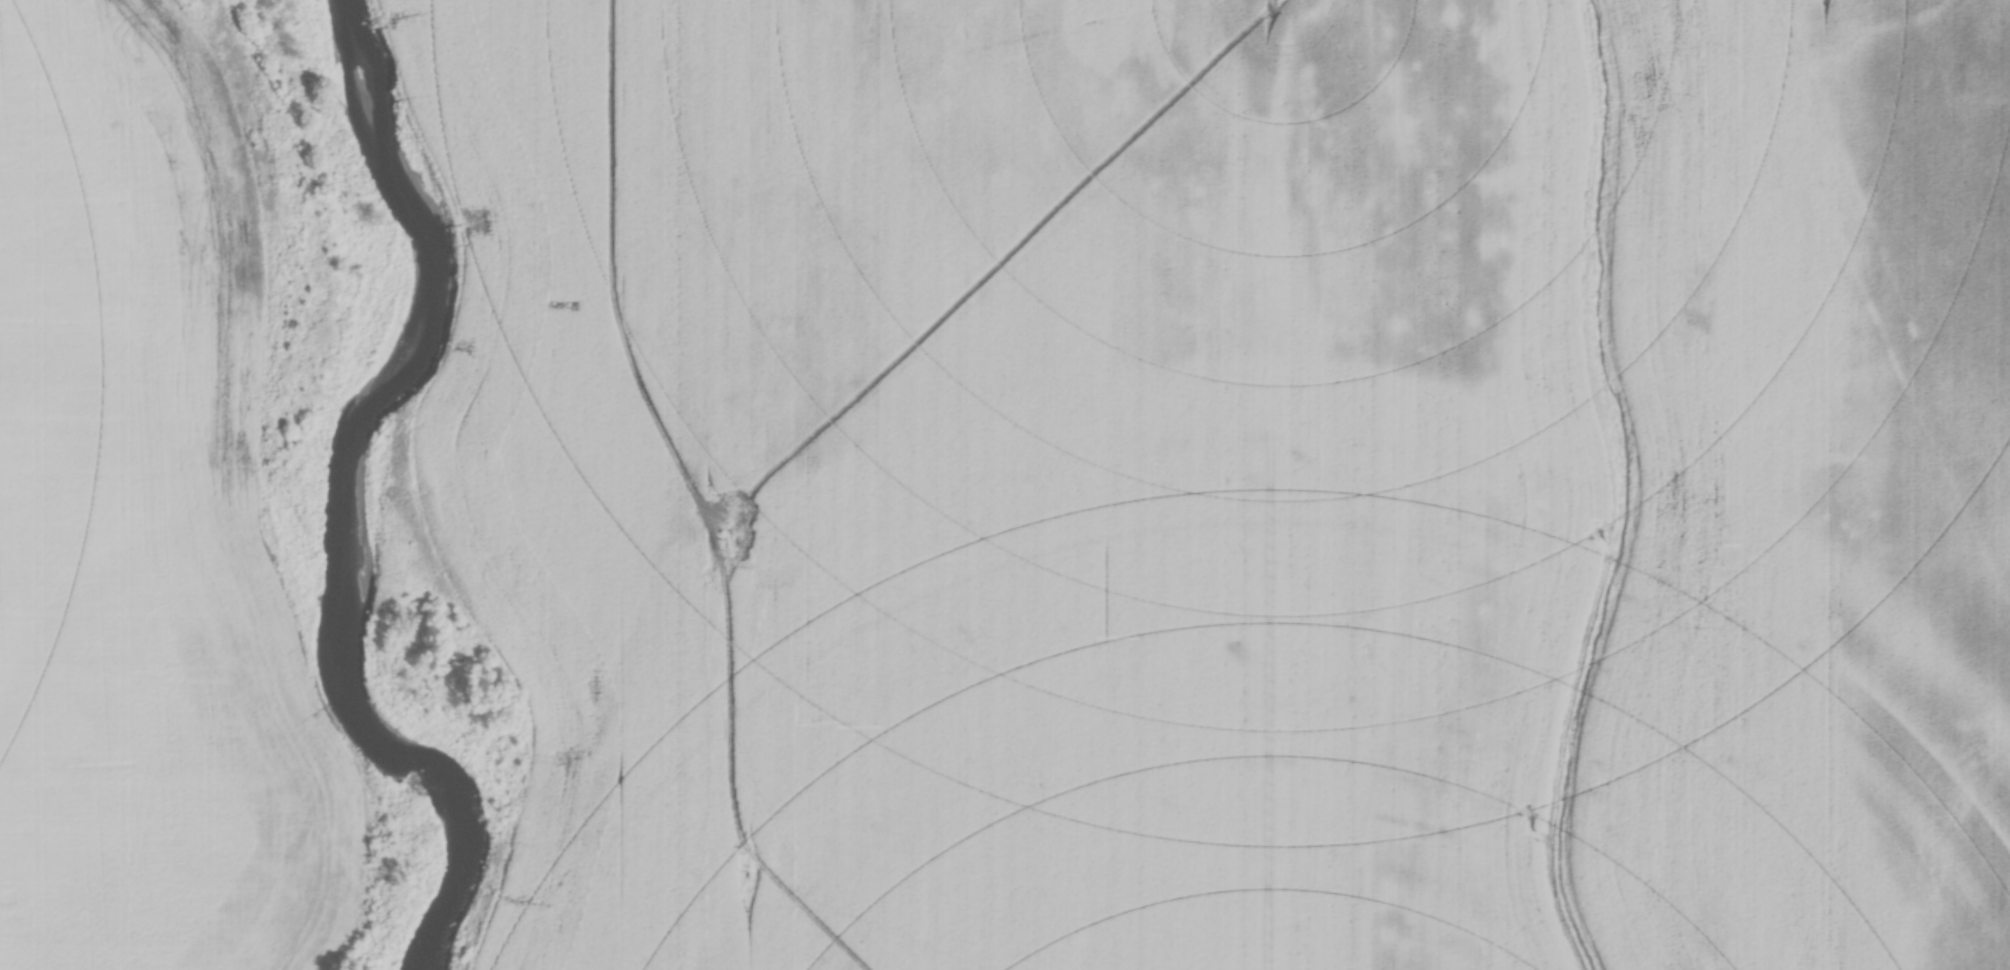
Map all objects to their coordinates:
river: (364, 500)

